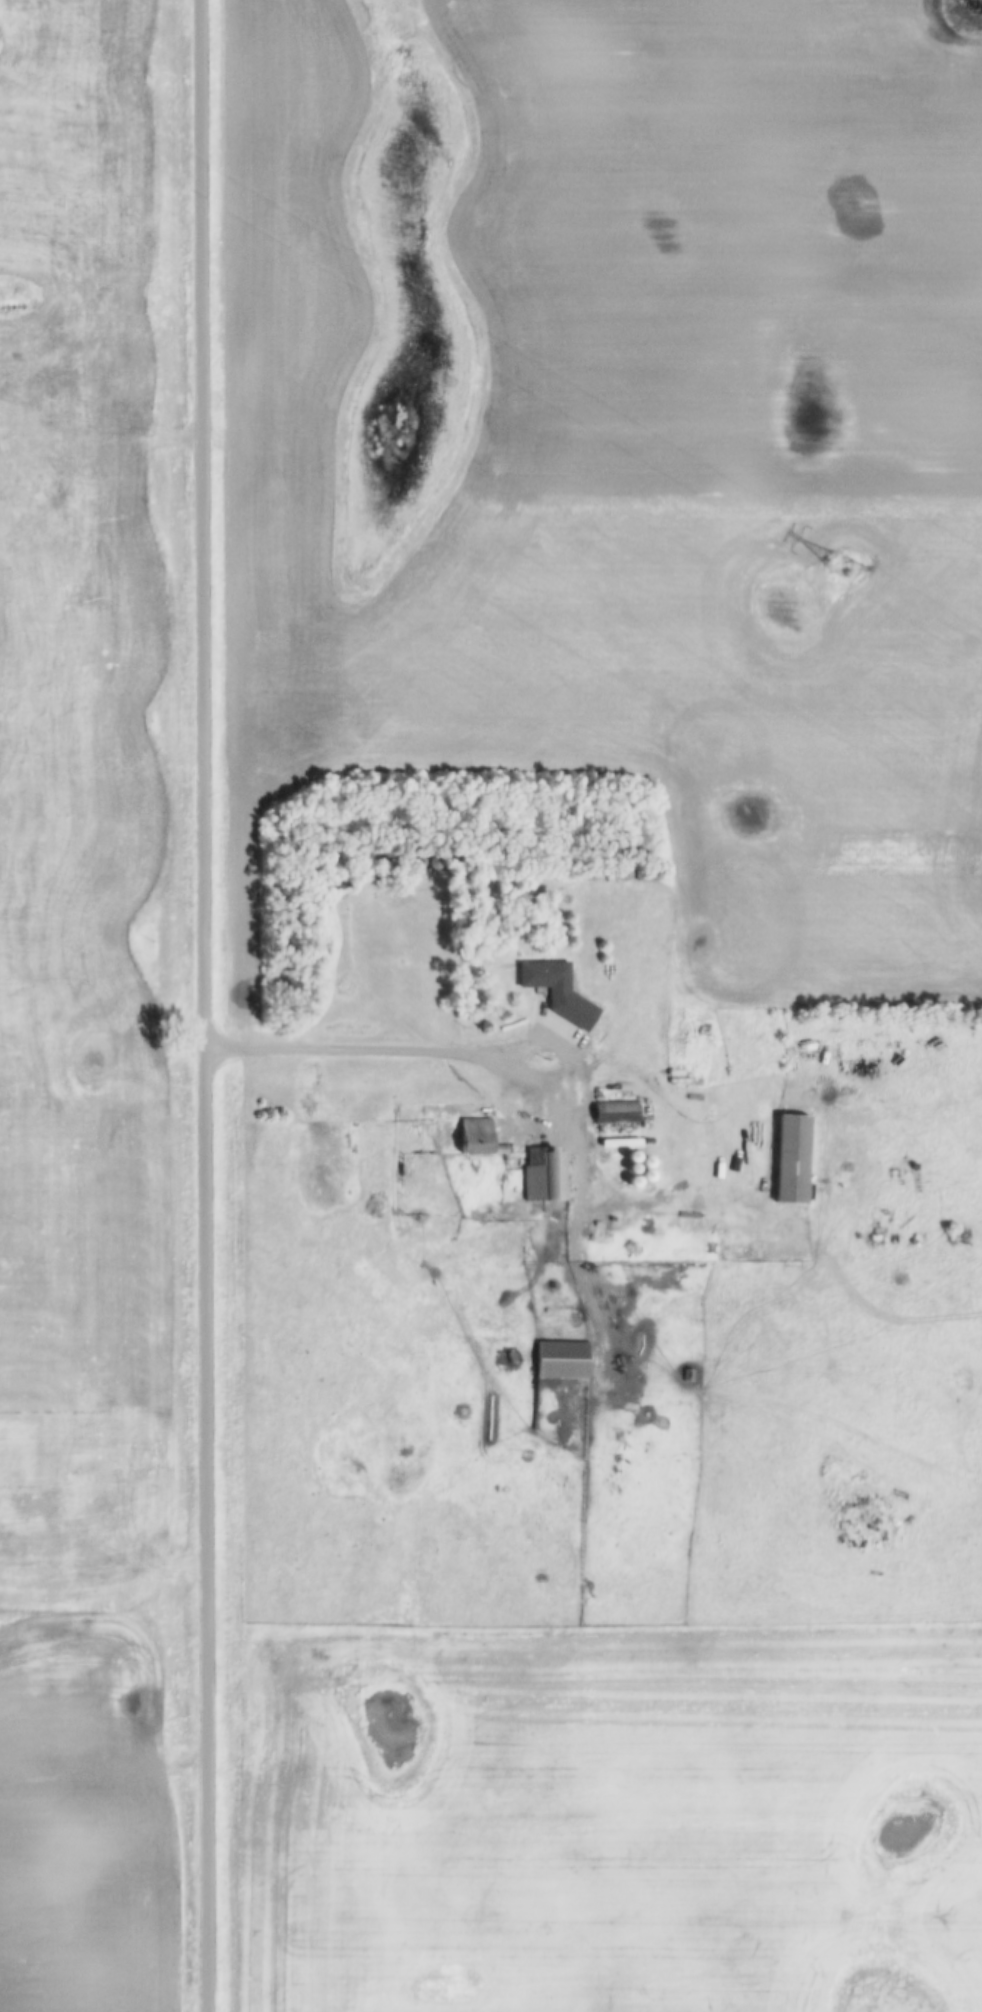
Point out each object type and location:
power tower: (838, 569)
building: (542, 978)
road: (201, 1005)
road: (459, 1051)
building: (614, 1114)
building: (459, 1137)
building: (543, 1175)
building: (560, 1361)

